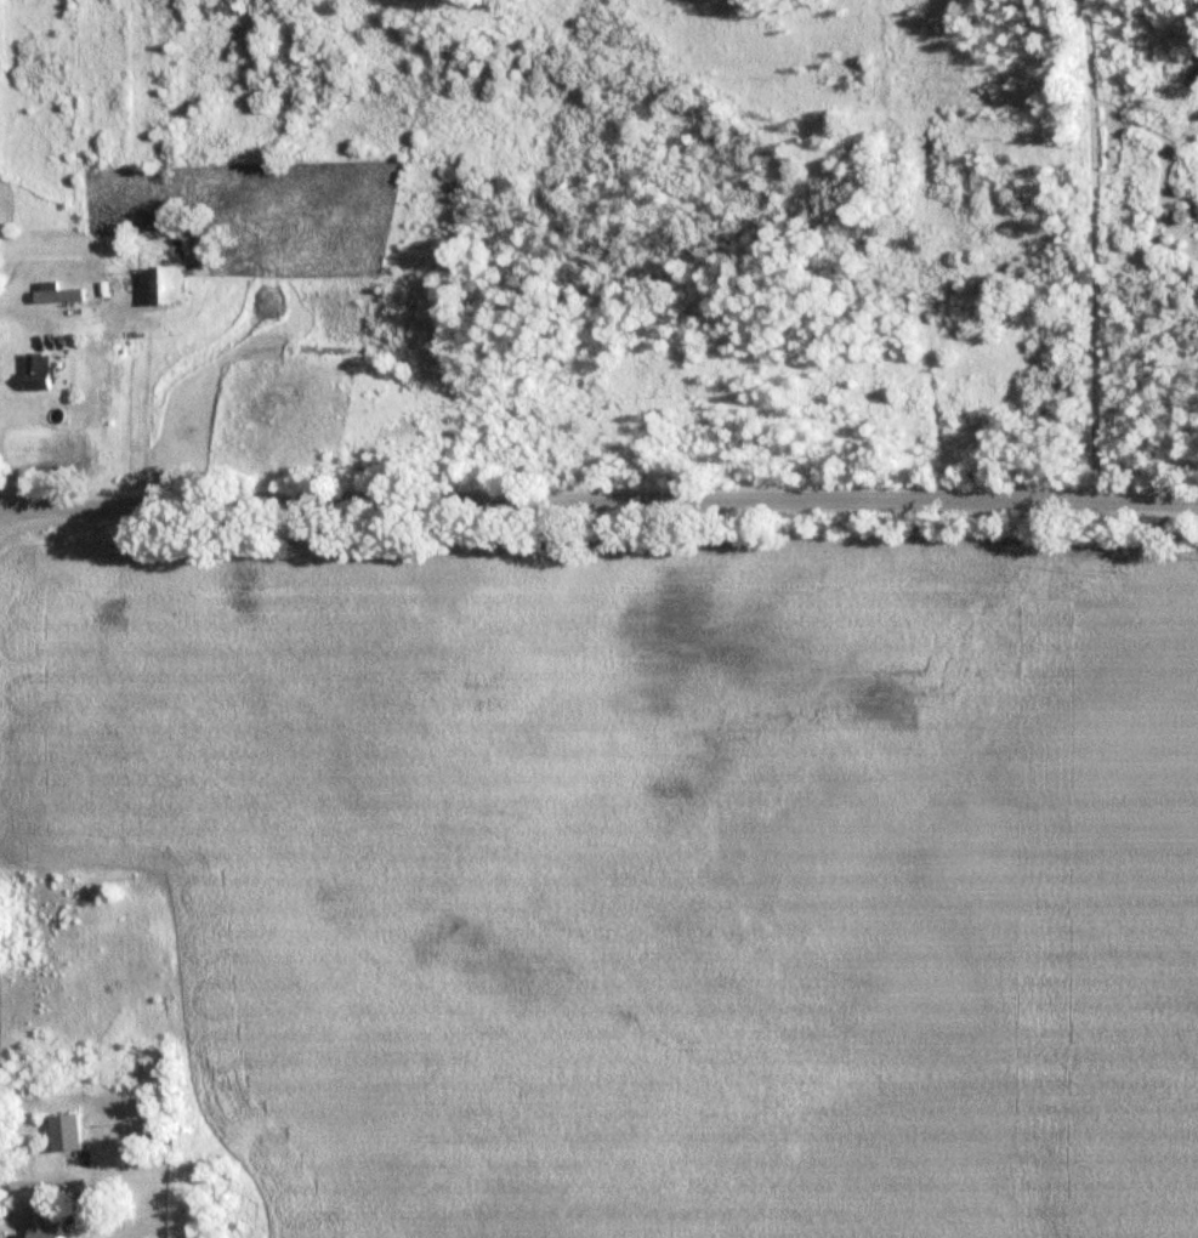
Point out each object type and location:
building: (180, 286)
building: (62, 296)
building: (49, 373)
road: (598, 479)
building: (69, 1132)
building: (212, 1188)
building: (50, 1226)

